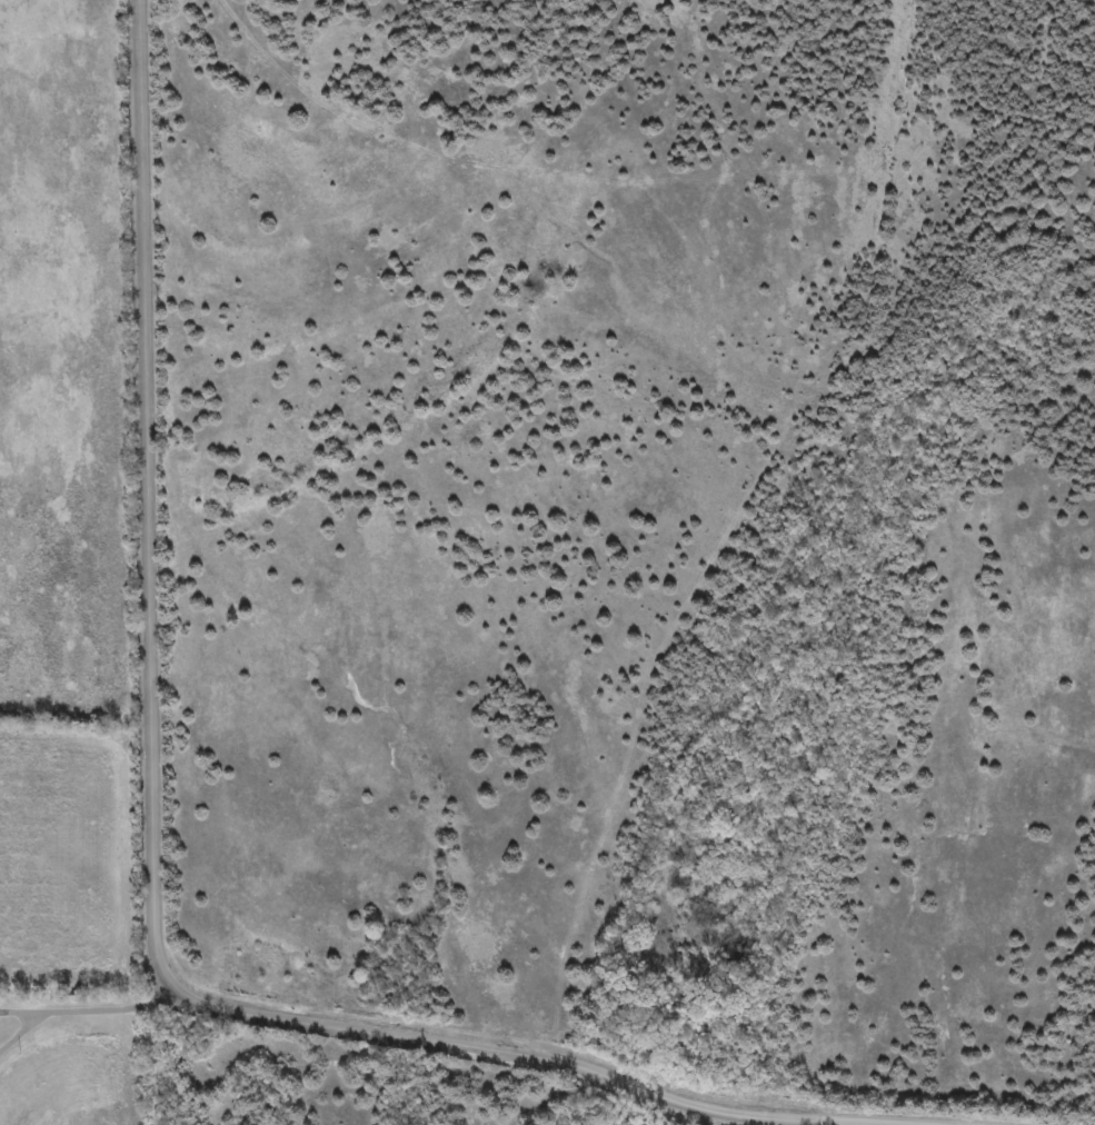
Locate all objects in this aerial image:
road: (155, 858)
road: (89, 1010)
road: (183, 1056)

